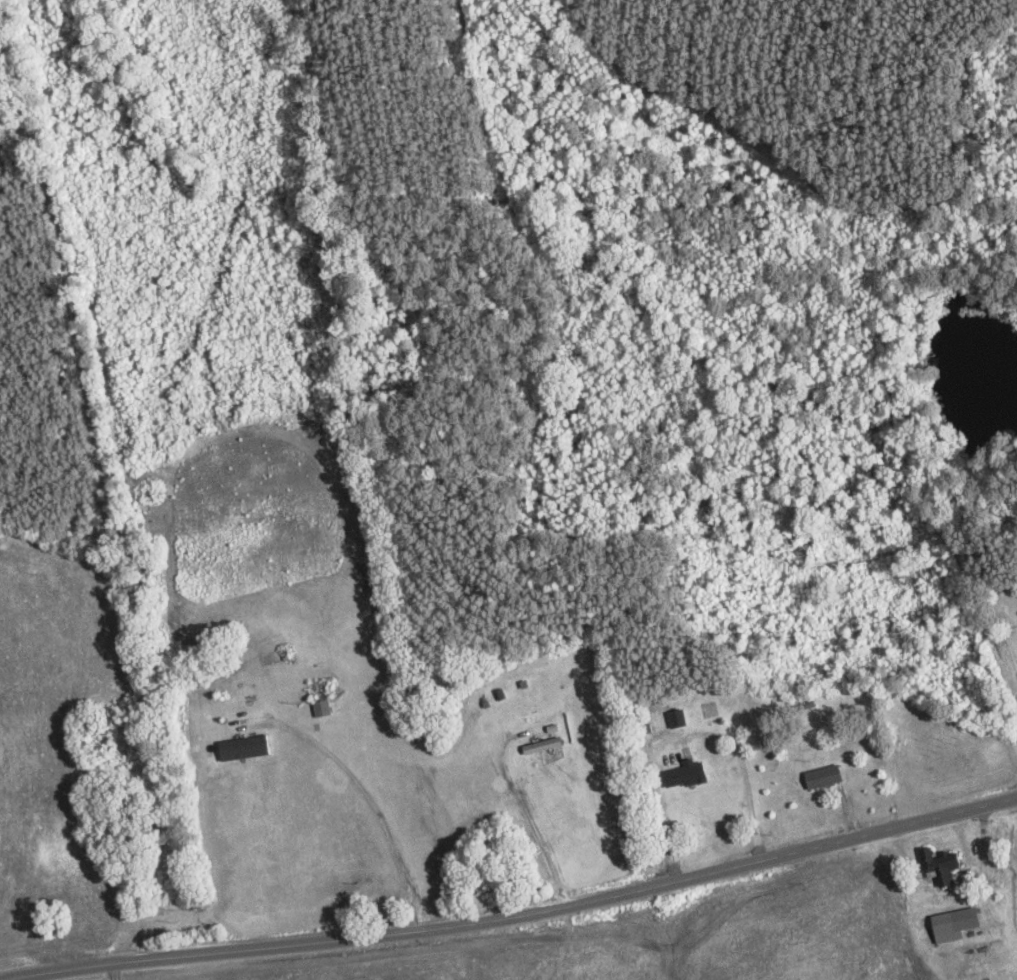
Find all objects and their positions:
building: (317, 690)
building: (674, 719)
building: (242, 748)
building: (683, 775)
building: (819, 778)
building: (937, 865)
road: (530, 901)
building: (930, 930)
building: (976, 959)

